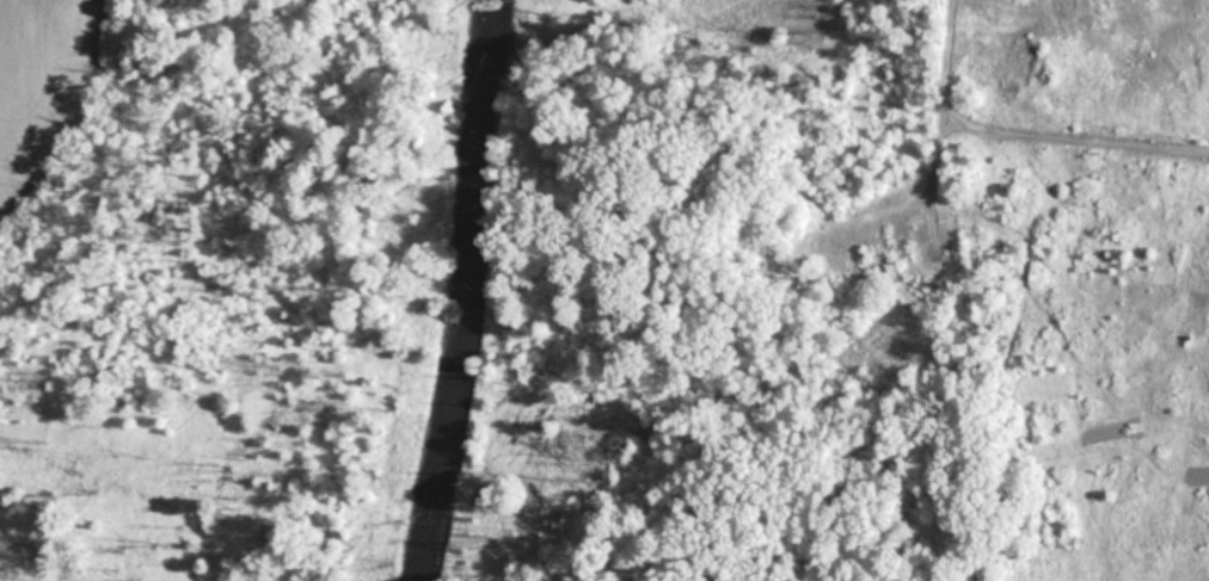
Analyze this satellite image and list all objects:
road: (1009, 137)
river: (461, 291)

